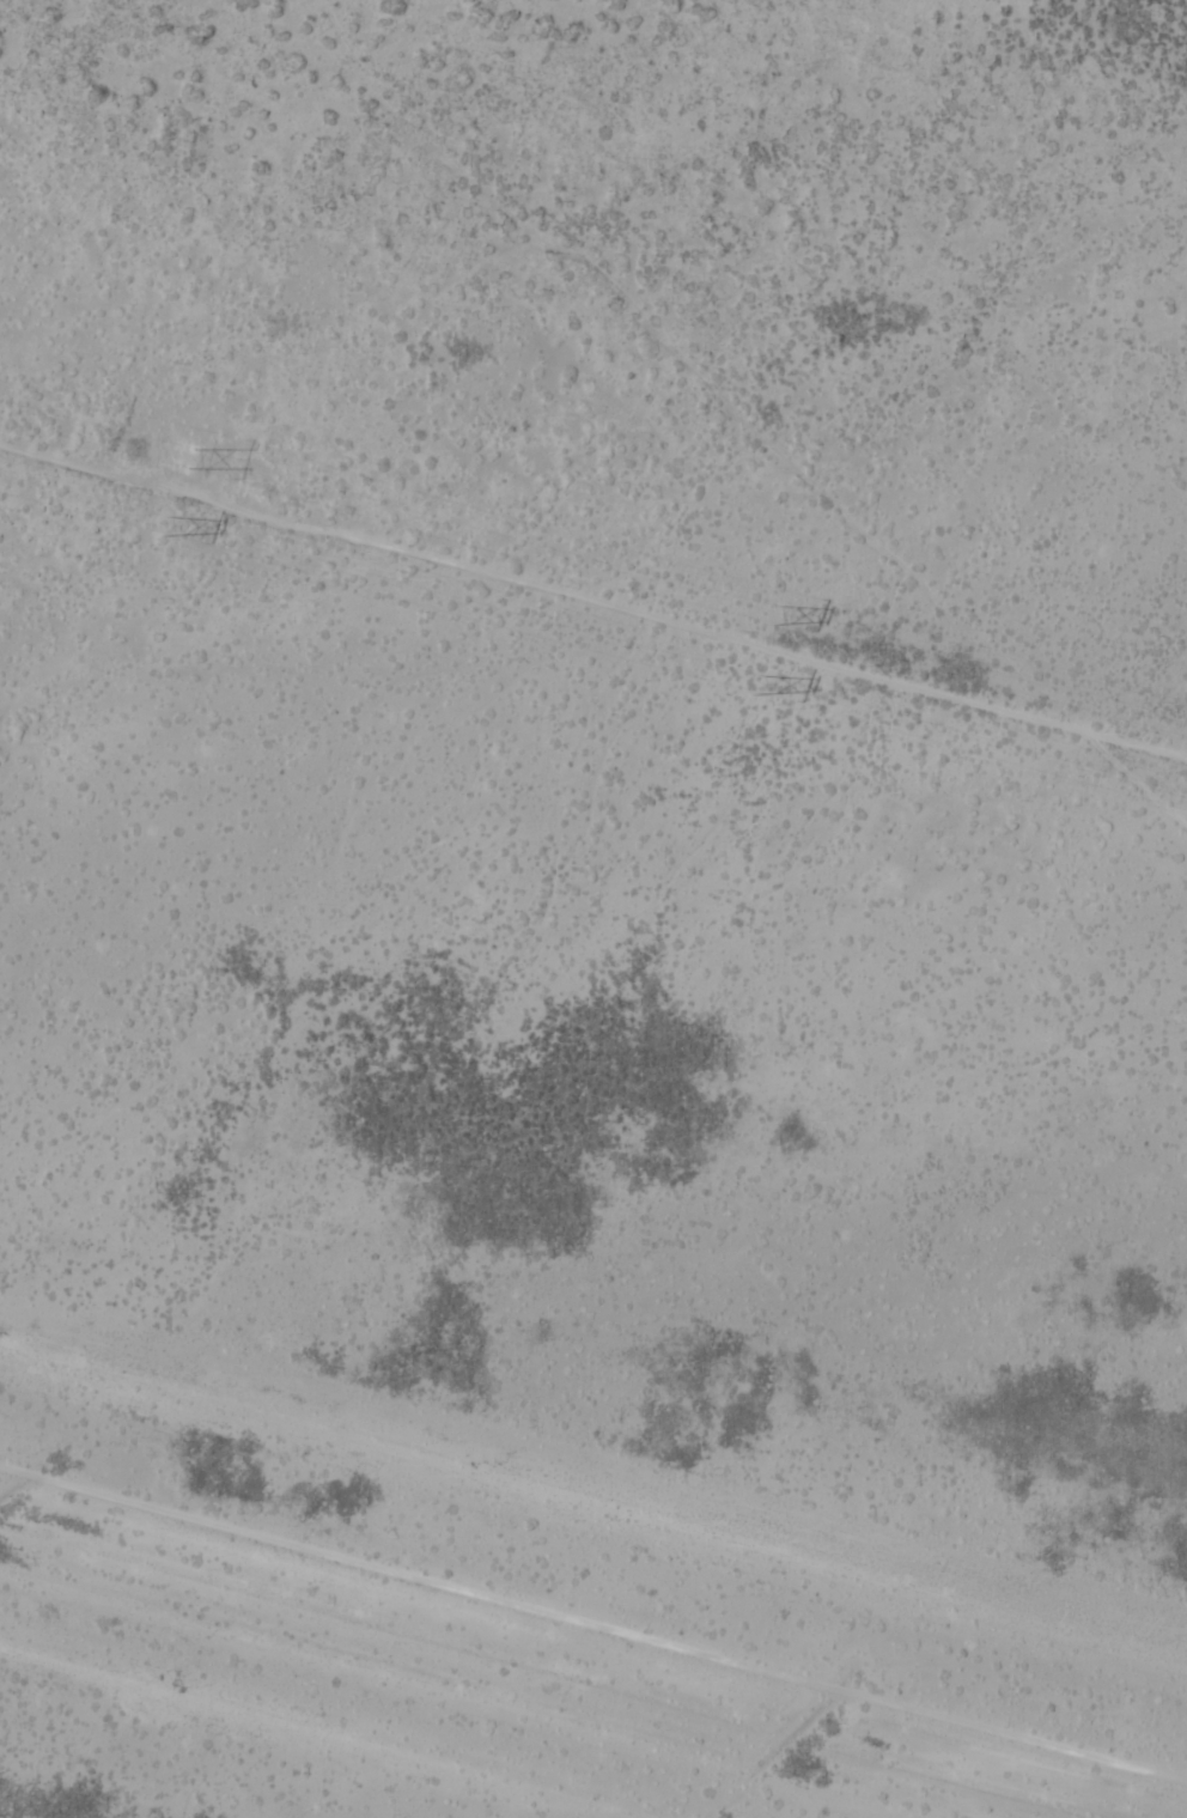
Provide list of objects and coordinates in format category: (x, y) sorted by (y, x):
power tower: (178, 455)
power tower: (160, 531)
road: (593, 589)
power tower: (771, 615)
power tower: (754, 683)
road: (592, 1622)

